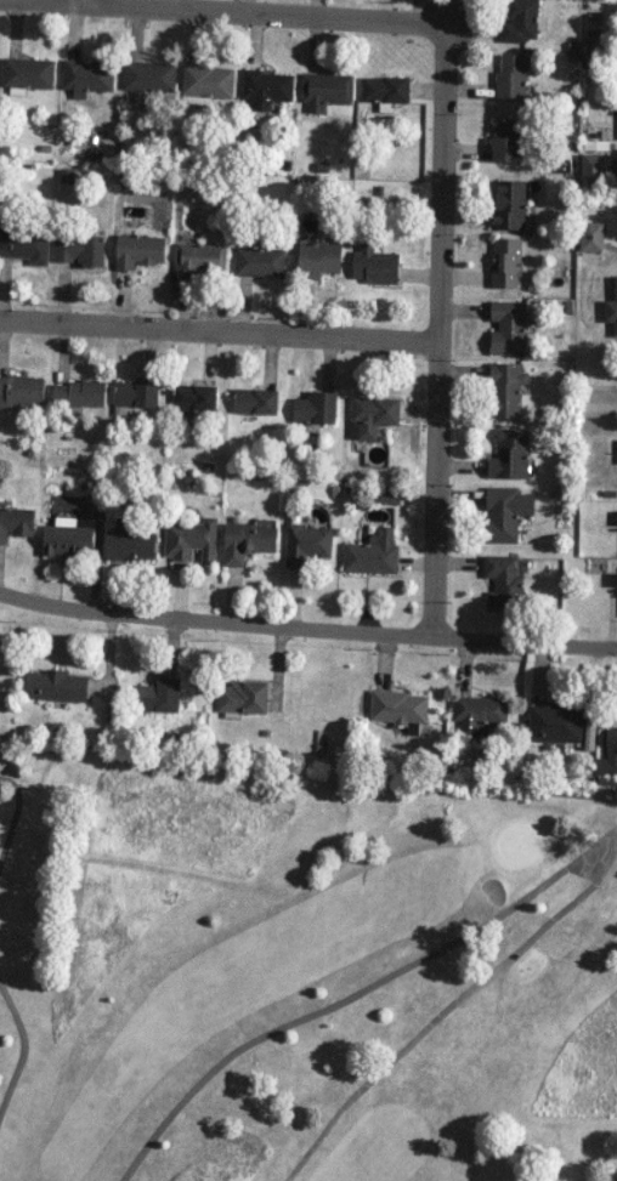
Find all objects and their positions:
road: (272, 10)
building: (519, 21)
building: (27, 73)
building: (148, 74)
building: (87, 75)
building: (511, 76)
building: (206, 83)
building: (266, 87)
building: (385, 87)
building: (324, 89)
building: (505, 138)
building: (591, 166)
building: (509, 204)
building: (590, 235)
building: (24, 244)
building: (79, 249)
building: (138, 250)
building: (199, 256)
building: (318, 259)
building: (260, 261)
building: (506, 262)
building: (374, 263)
building: (611, 307)
road: (437, 325)
building: (508, 327)
road: (219, 328)
building: (506, 388)
building: (21, 390)
building: (78, 392)
building: (136, 393)
building: (194, 396)
building: (255, 401)
building: (316, 407)
building: (372, 415)
building: (510, 454)
building: (505, 511)
building: (16, 522)
building: (68, 536)
building: (191, 539)
building: (248, 540)
building: (130, 543)
building: (306, 544)
building: (372, 552)
building: (503, 583)
building: (616, 583)
road: (306, 626)
building: (56, 685)
building: (159, 694)
building: (242, 697)
building: (400, 708)
building: (477, 712)
building: (555, 725)
building: (607, 759)
park: (304, 971)

